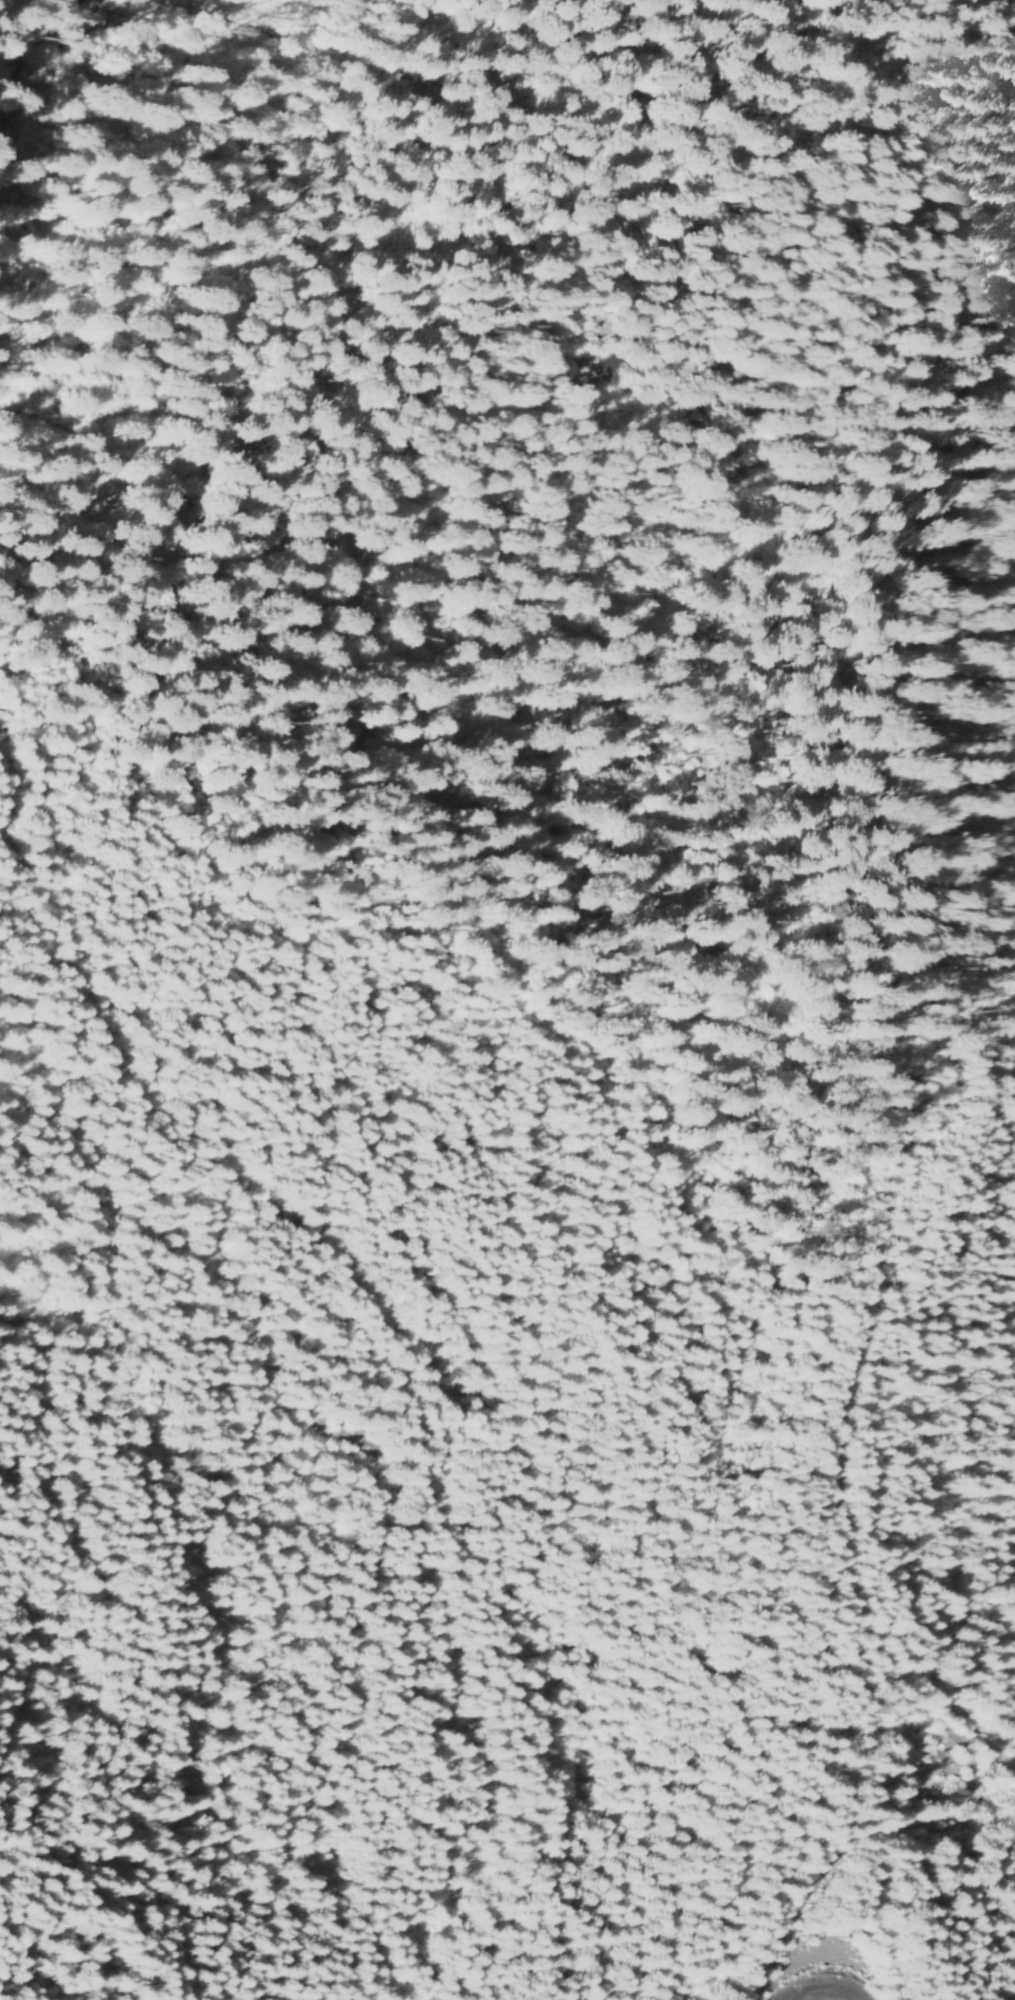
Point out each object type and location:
road: (822, 1997)

